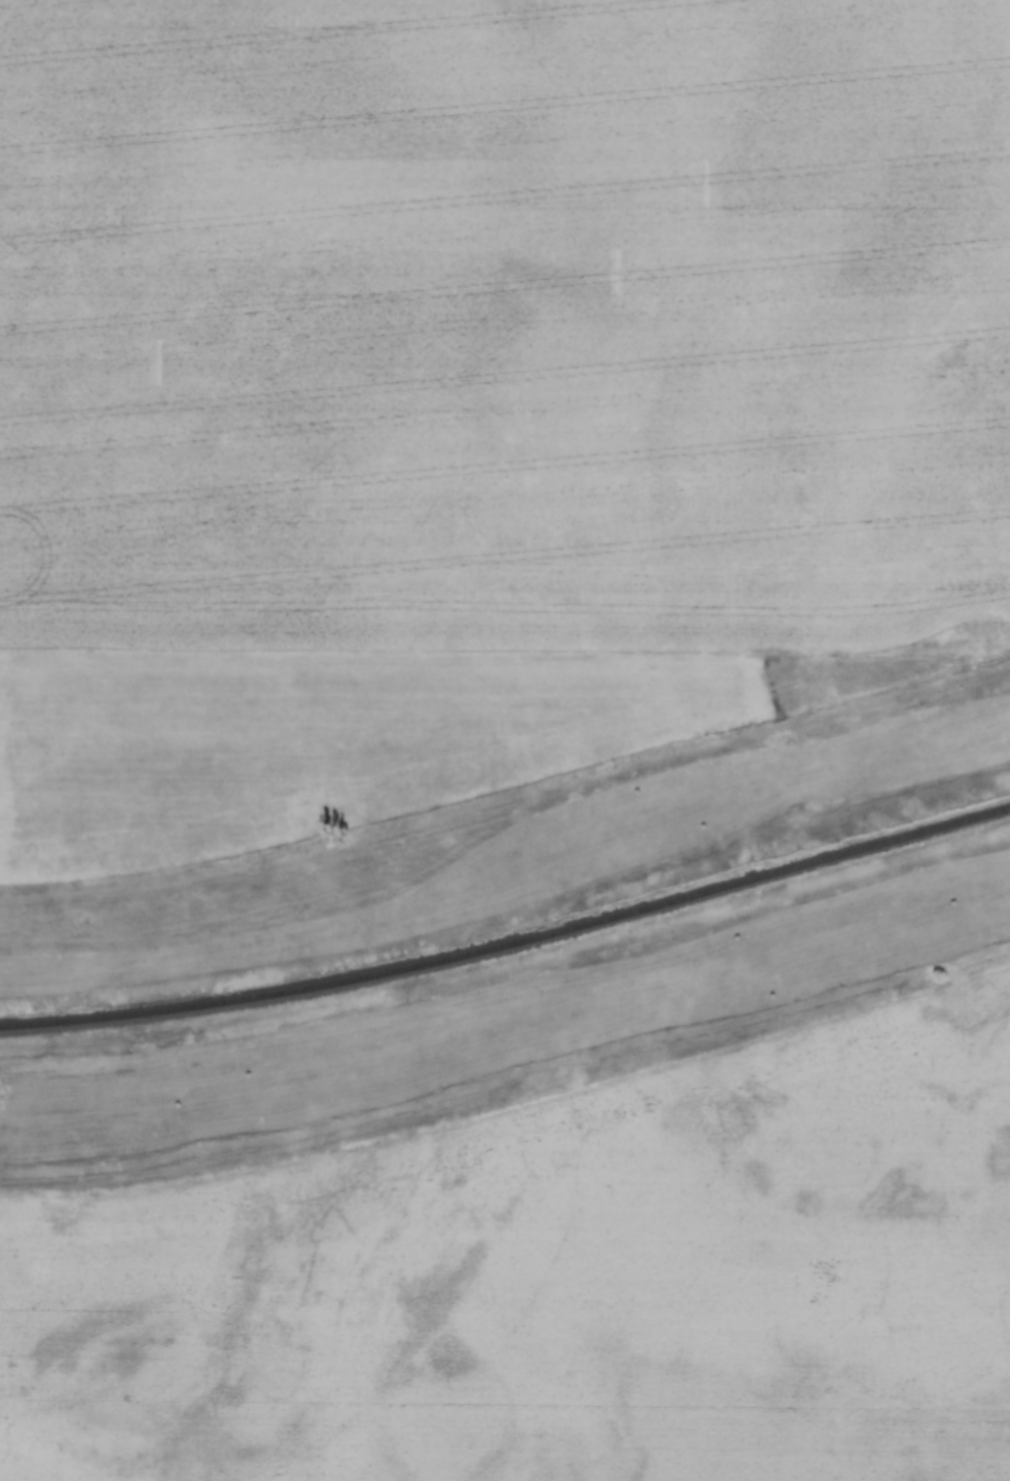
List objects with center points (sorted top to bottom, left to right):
railway: (509, 940)

